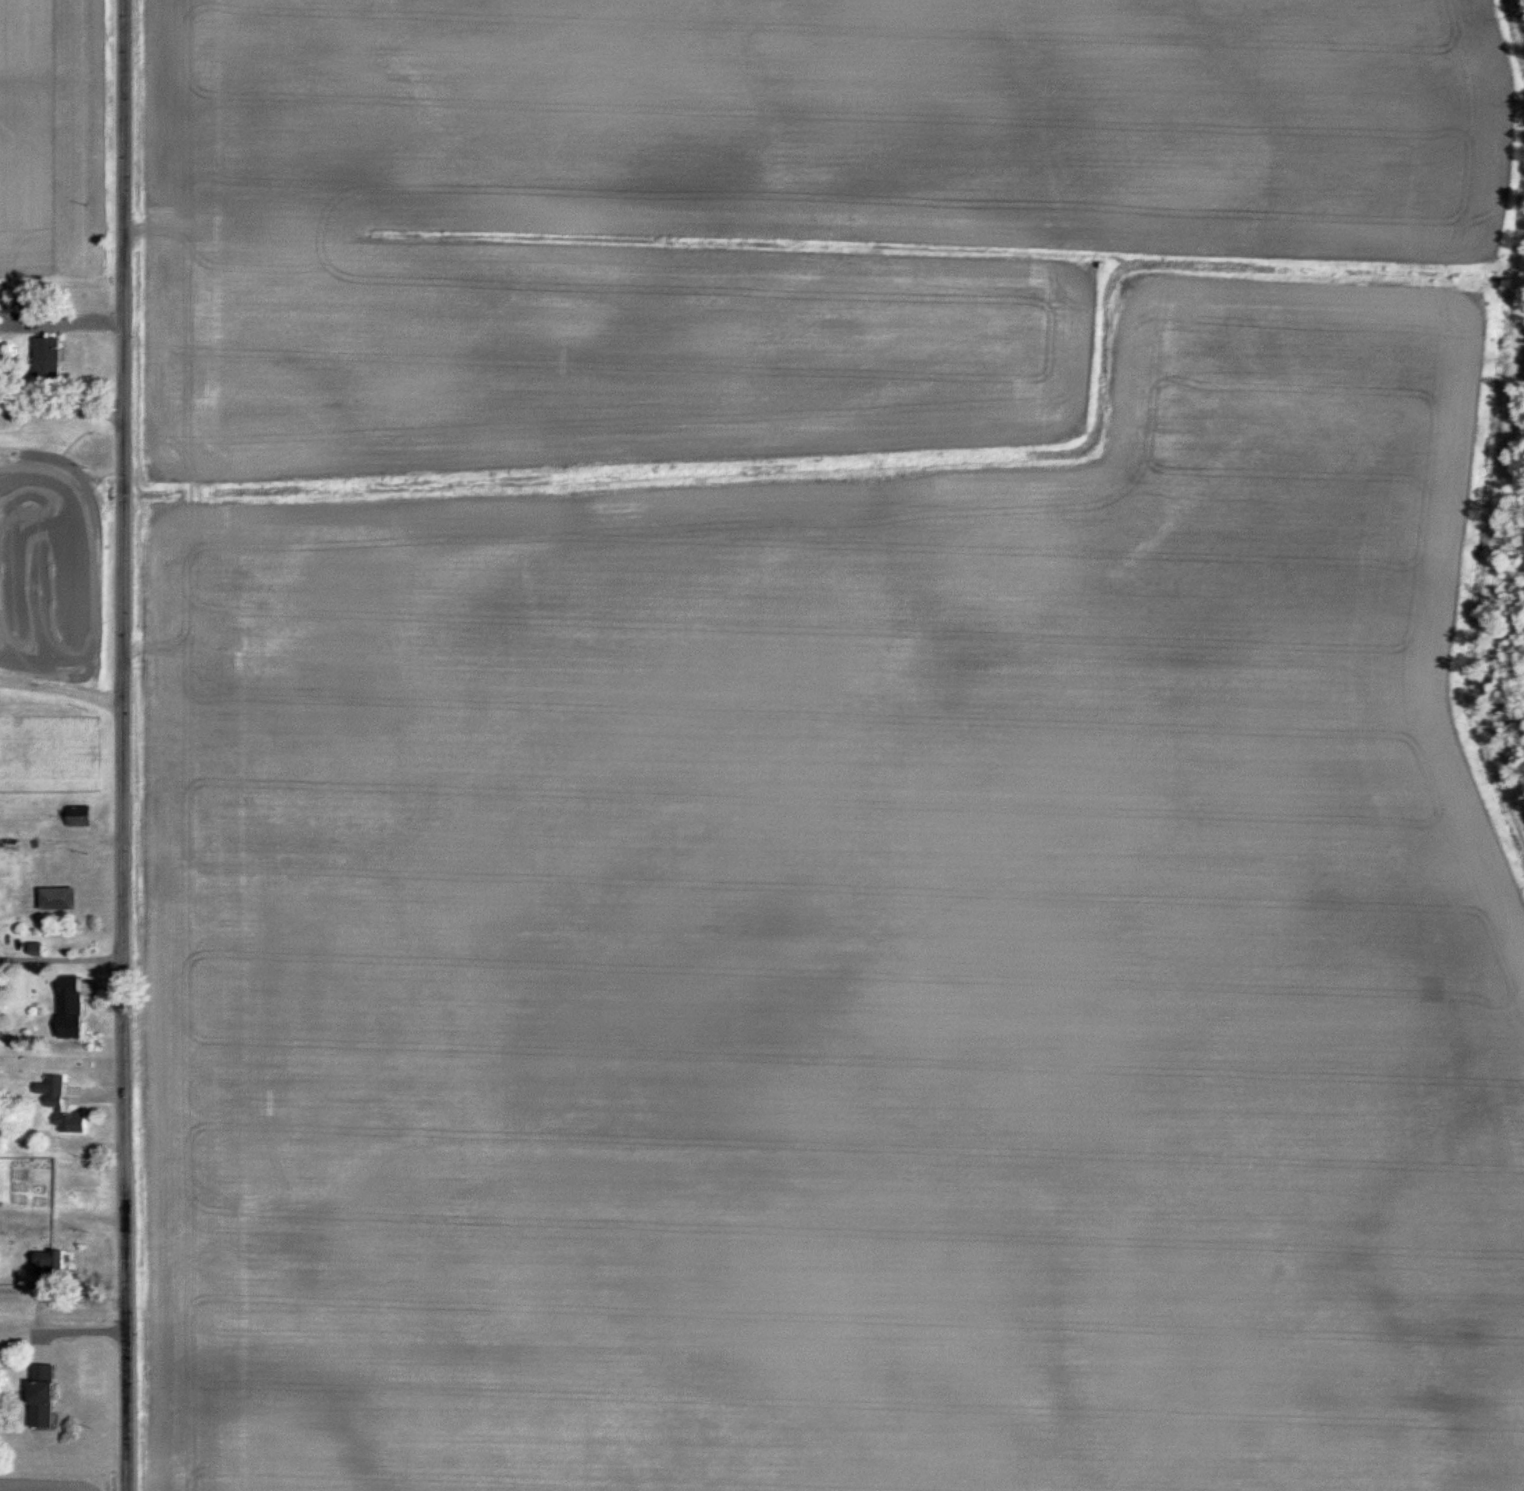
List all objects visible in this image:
road: (72, 321)
building: (51, 358)
road: (128, 745)
building: (64, 898)
building: (77, 1005)
building: (67, 1107)
building: (53, 1262)
building: (49, 1397)

